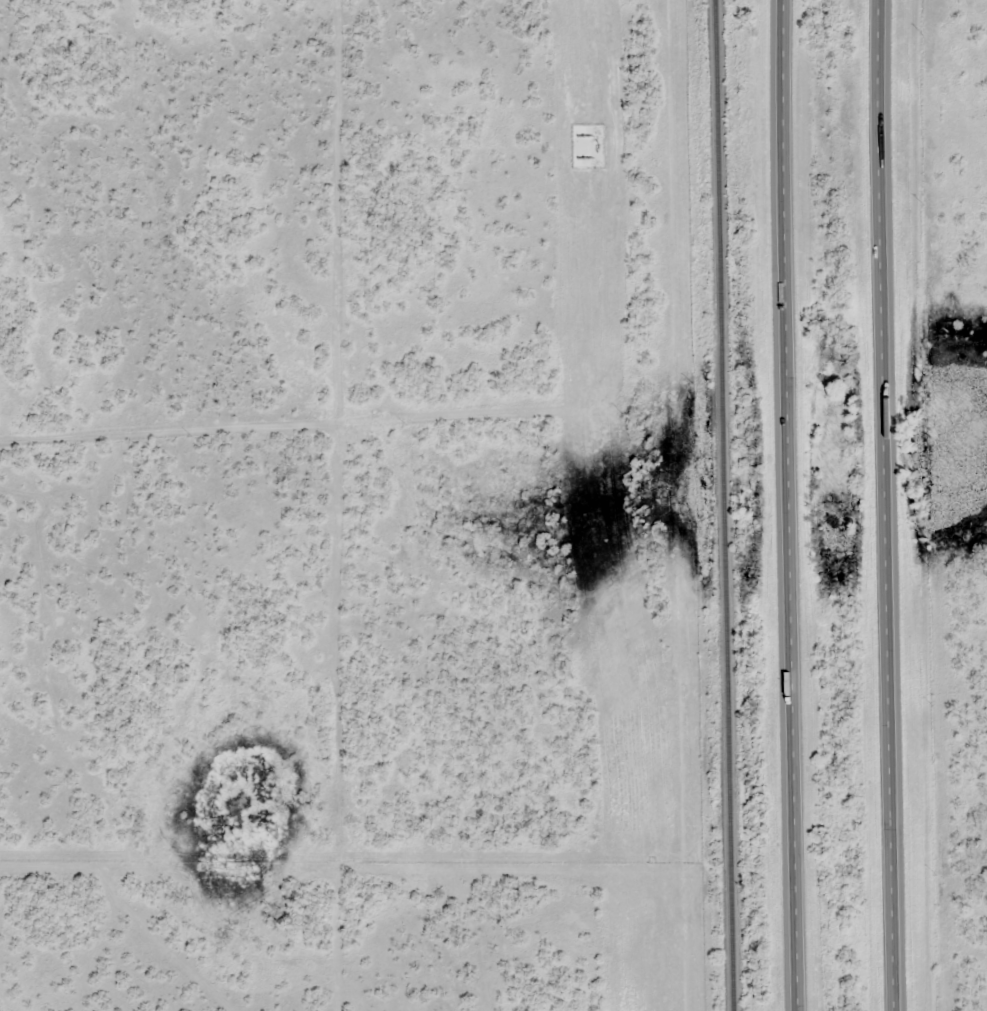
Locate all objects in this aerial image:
railway: (730, 505)
road: (793, 505)
road: (890, 505)

